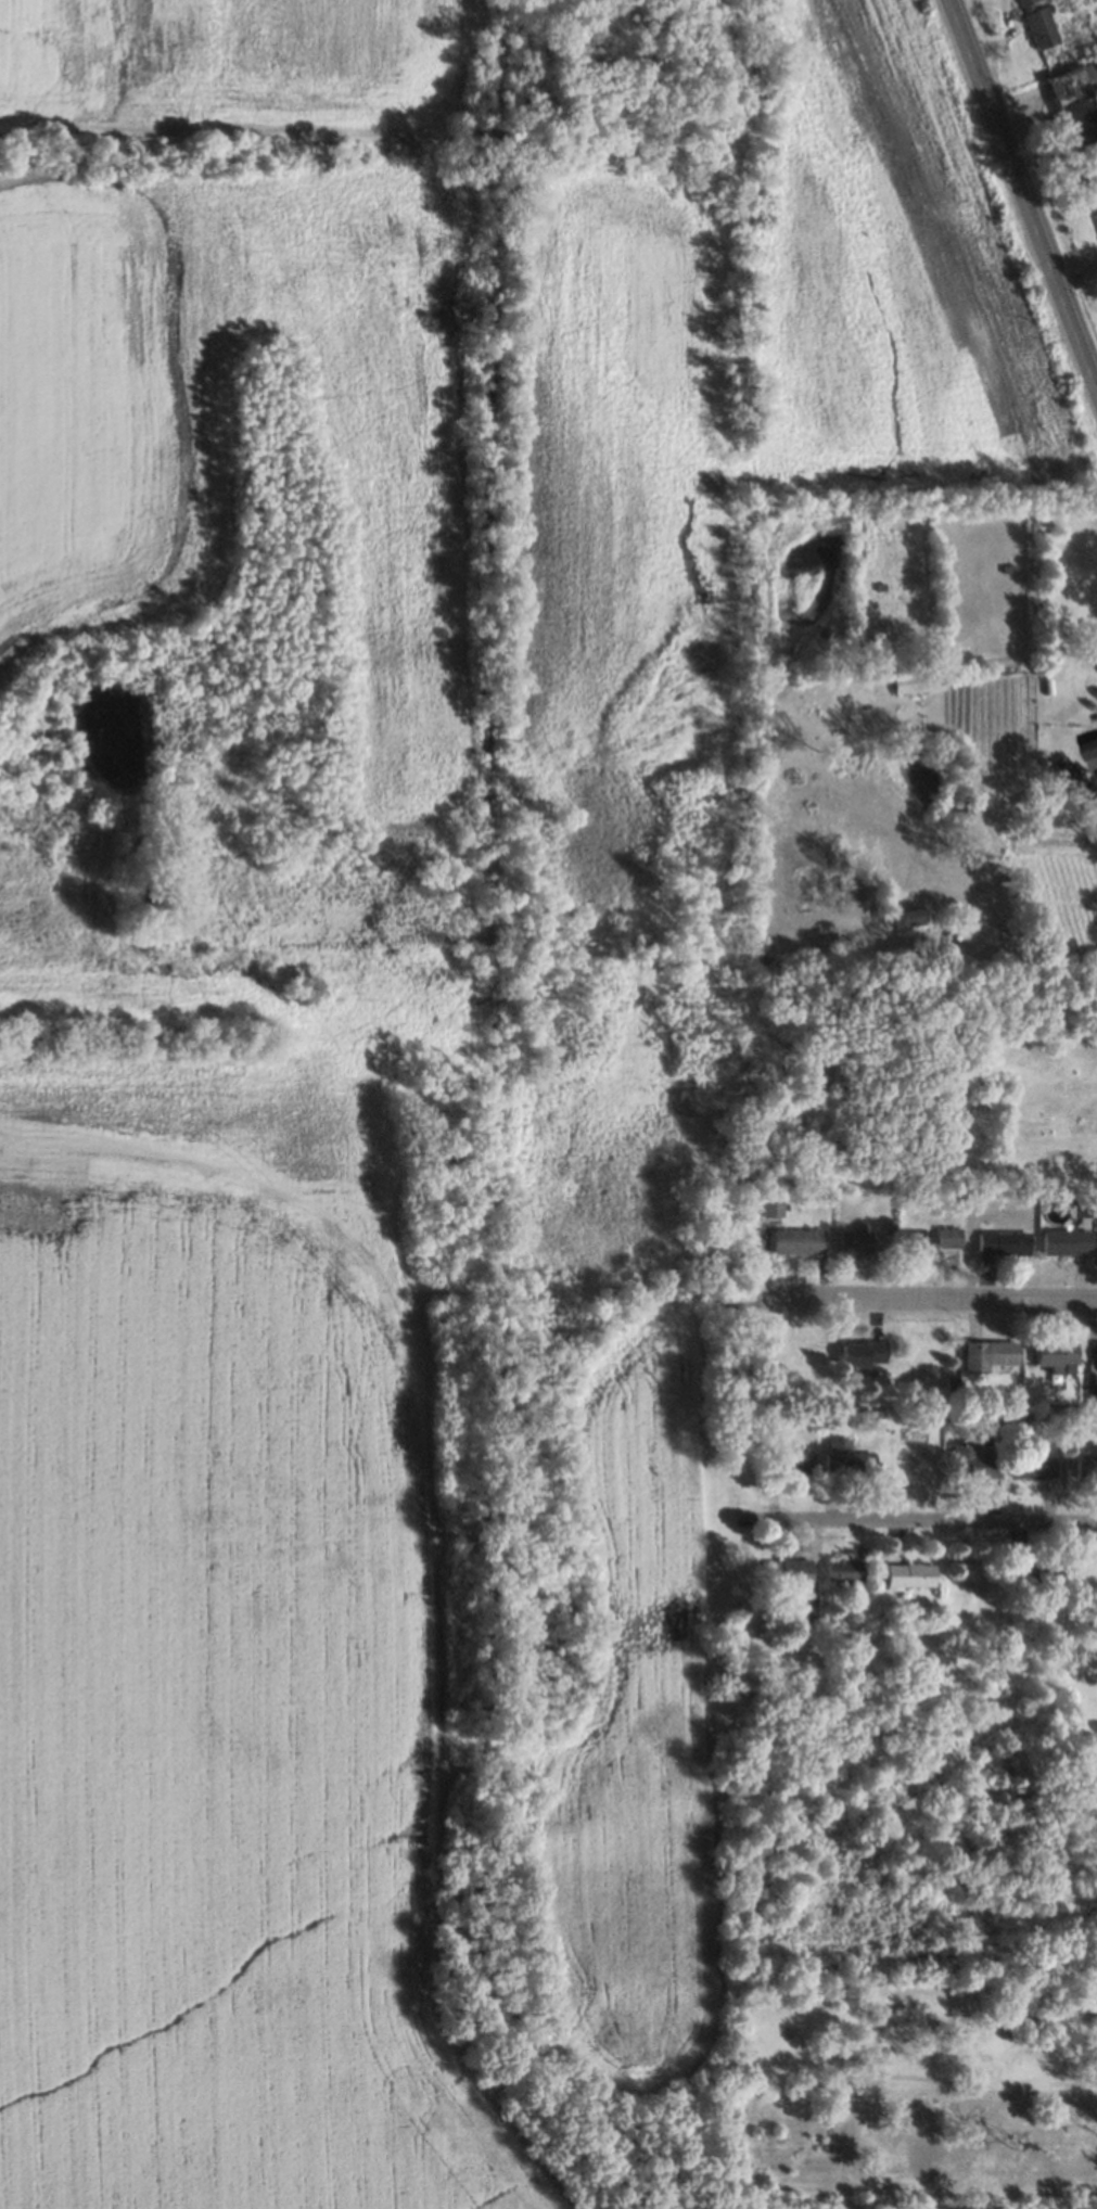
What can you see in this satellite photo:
building: (1037, 24)
building: (1076, 101)
road: (1020, 199)
building: (1096, 218)
building: (915, 681)
building: (1096, 741)
building: (905, 917)
building: (1046, 928)
building: (768, 1204)
building: (796, 1240)
building: (853, 1240)
building: (931, 1240)
building: (1066, 1240)
building: (1002, 1242)
road: (927, 1305)
building: (863, 1352)
building: (987, 1354)
building: (1056, 1355)
building: (846, 1457)
building: (790, 1460)
building: (972, 1461)
building: (1033, 1466)
building: (1084, 1467)
road: (918, 1528)
building: (842, 1569)
building: (786, 1570)
building: (909, 1573)
building: (1035, 1579)

